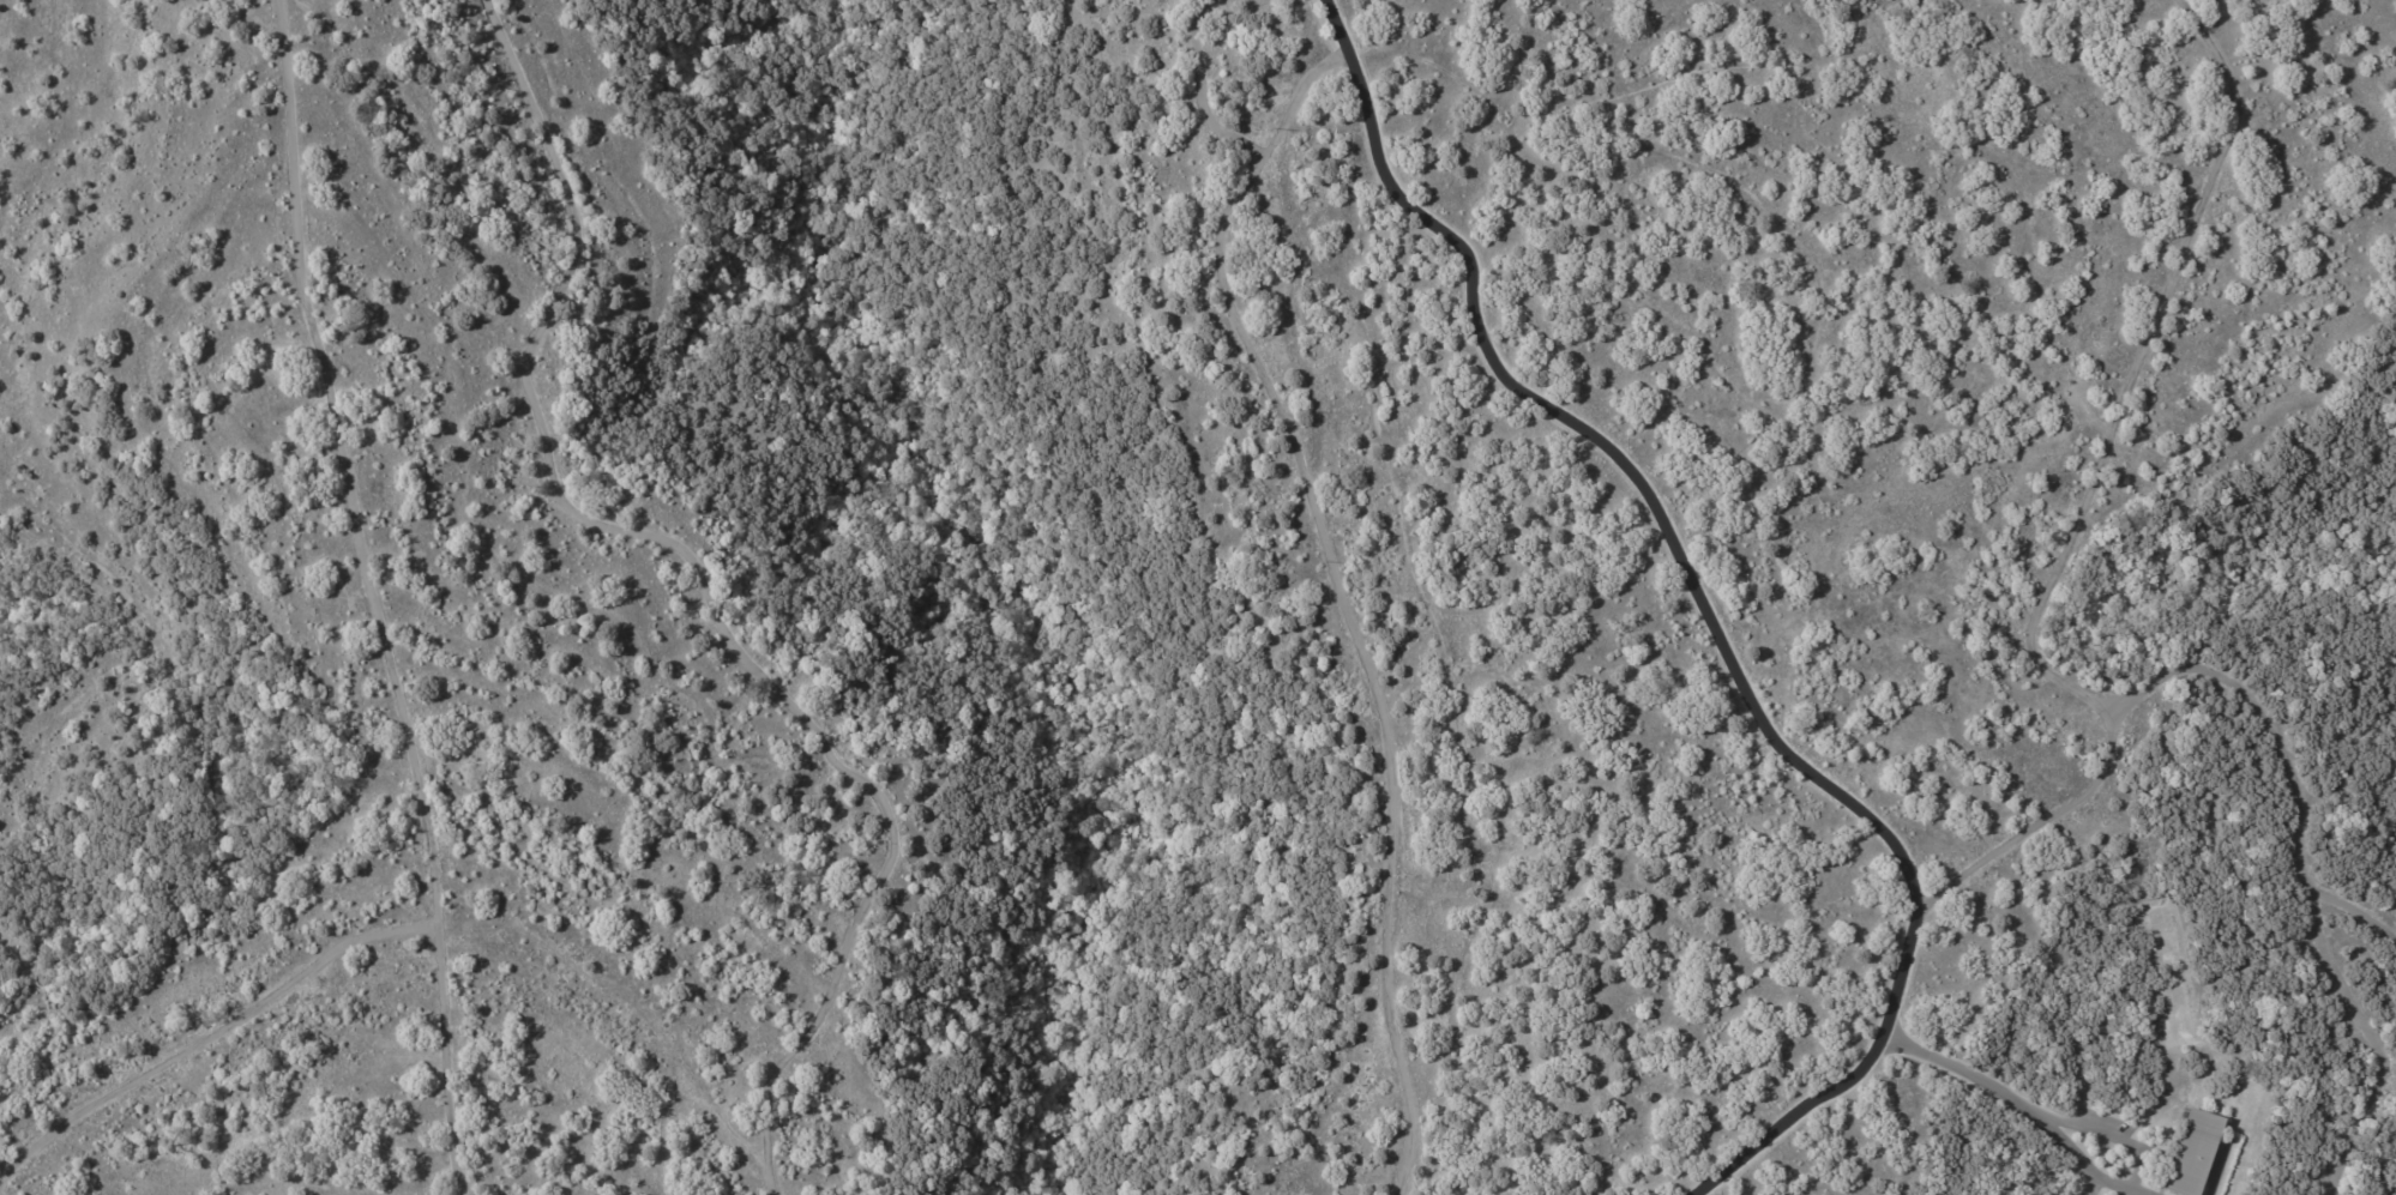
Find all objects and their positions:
road: (2081, 508)
road: (1335, 566)
road: (1716, 639)
road: (2017, 1106)
building: (2189, 1153)

